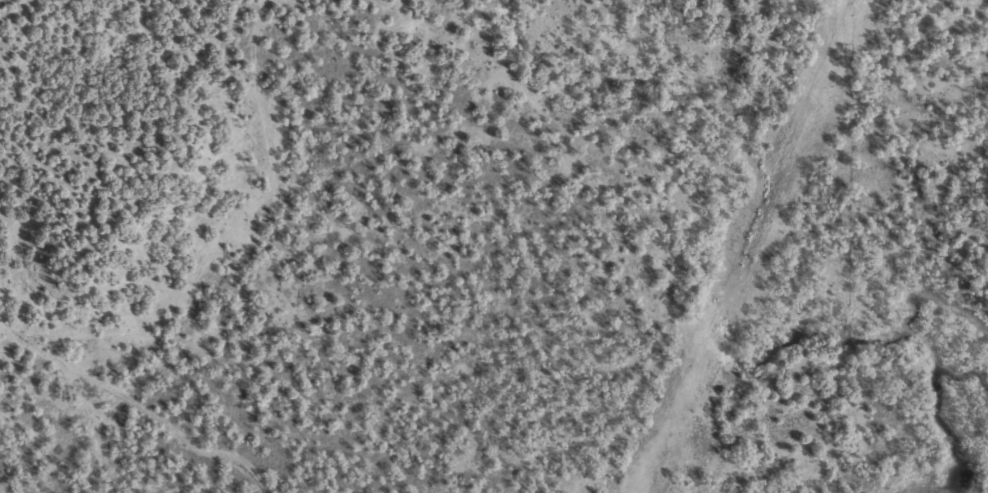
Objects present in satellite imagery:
road: (86, 401)

